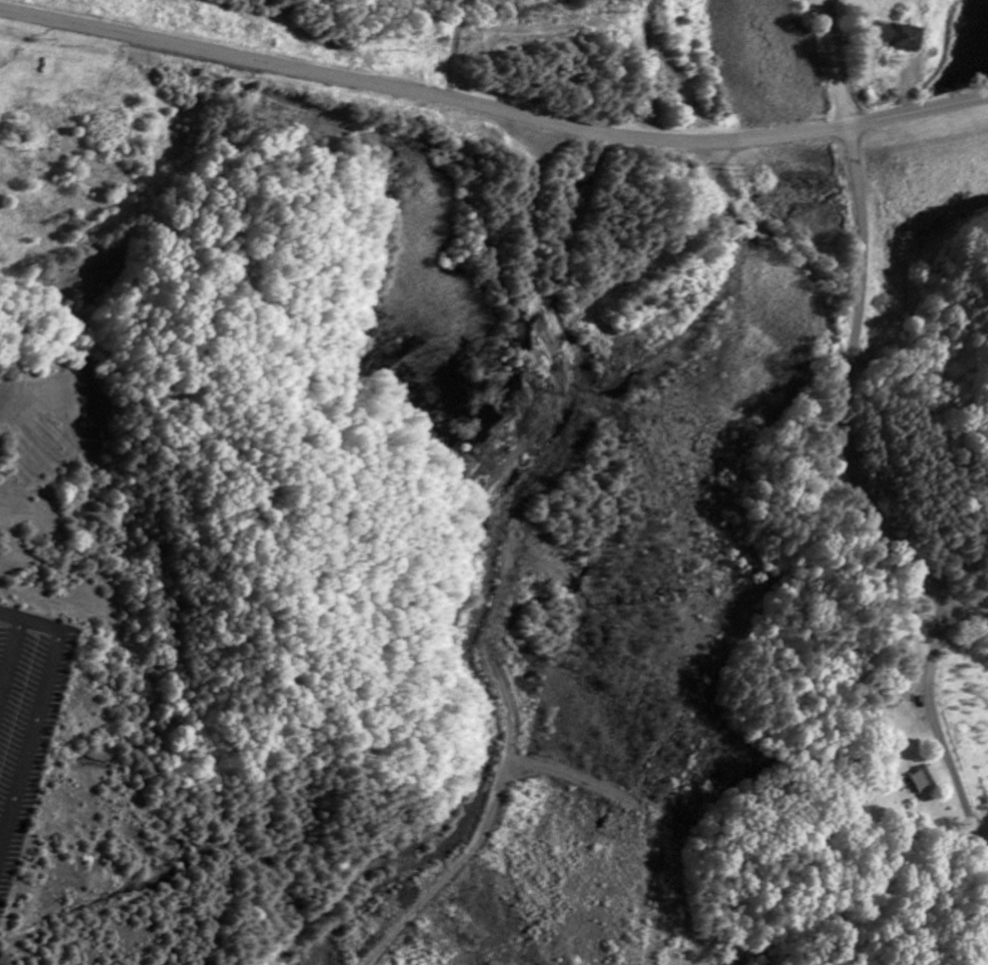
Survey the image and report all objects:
building: (893, 36)
road: (452, 48)
road: (834, 63)
road: (907, 88)
road: (421, 92)
road: (917, 111)
road: (842, 405)
road: (6, 641)
road: (34, 694)
parking lot: (27, 709)
road: (937, 723)
building: (931, 780)

